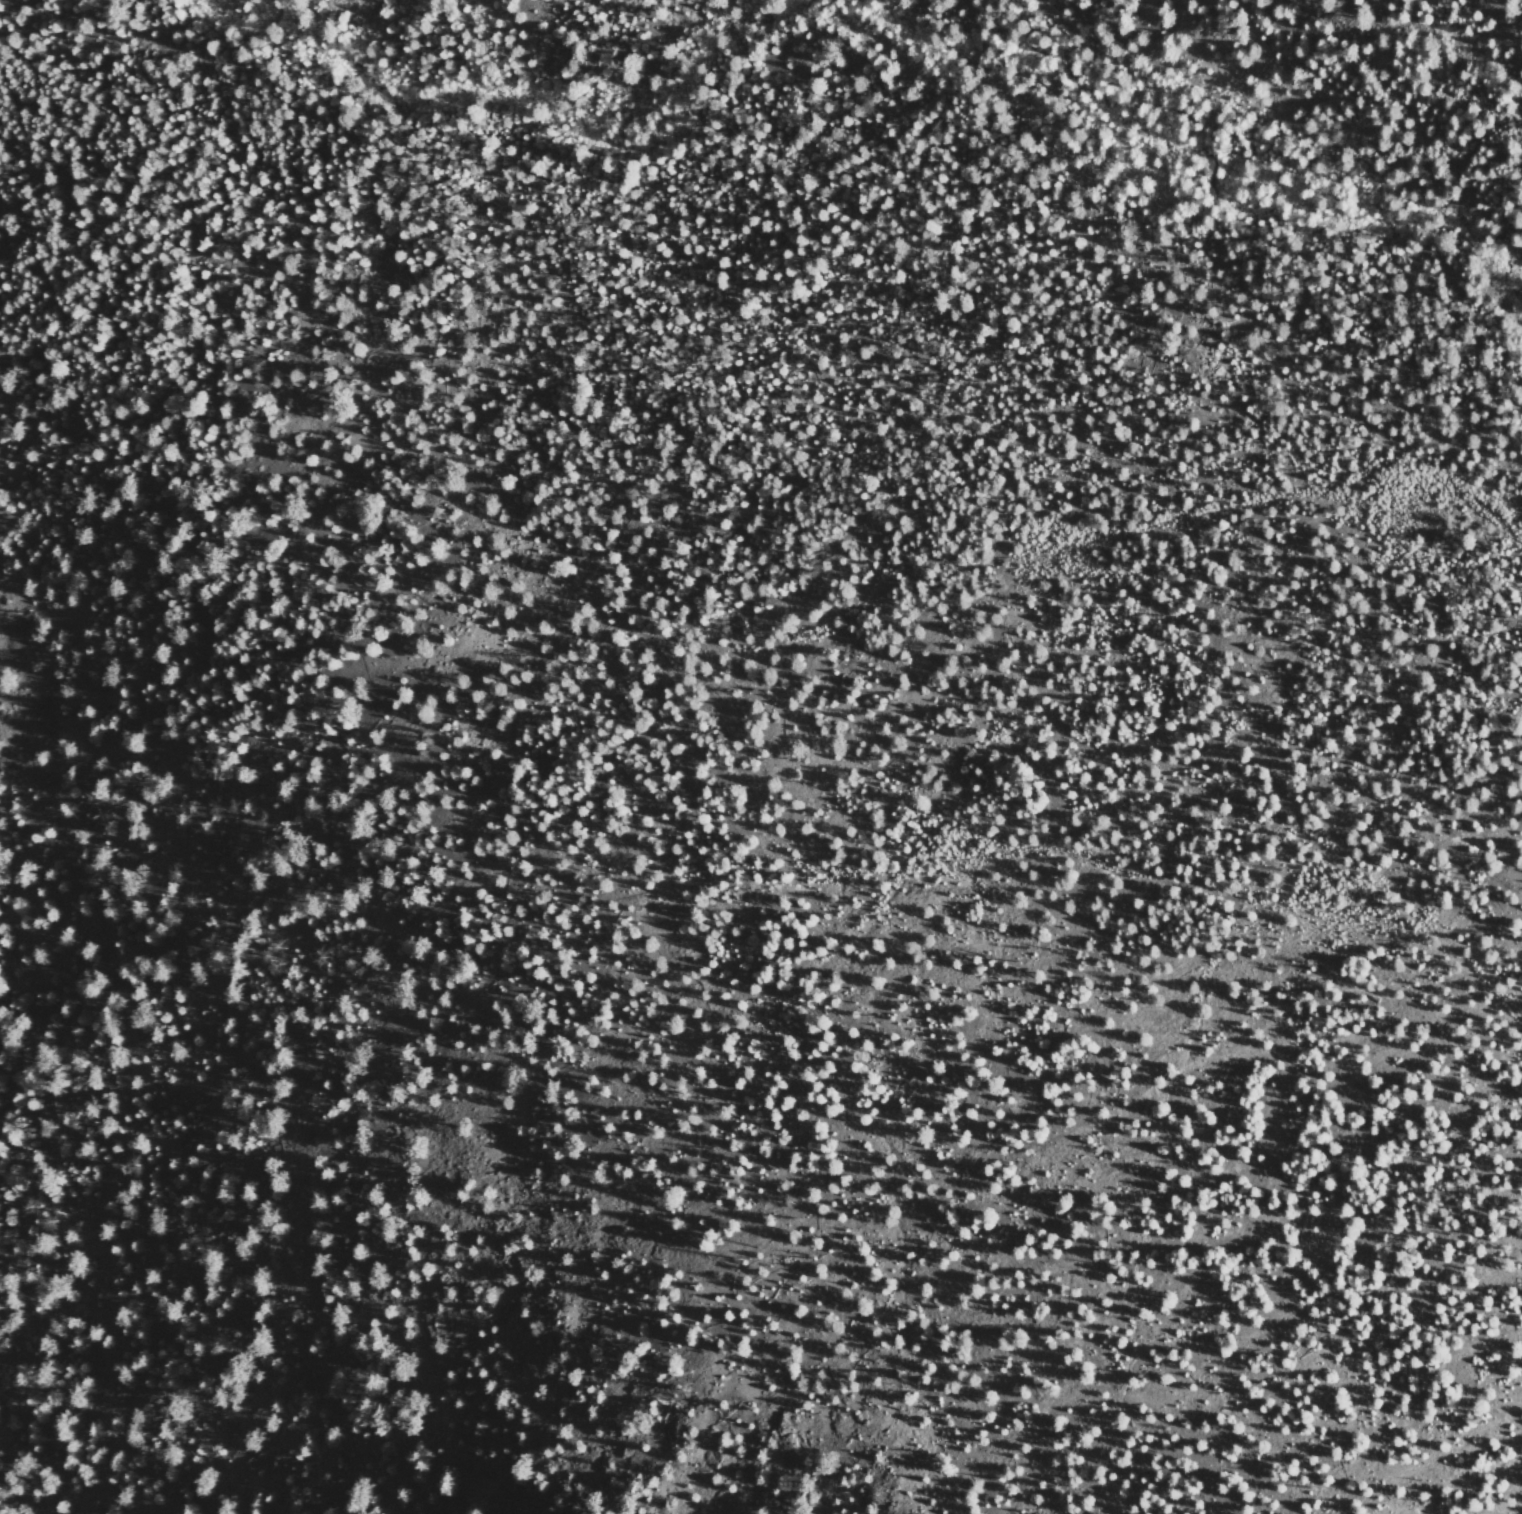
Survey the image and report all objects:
road: (1249, 491)
road: (1222, 890)

